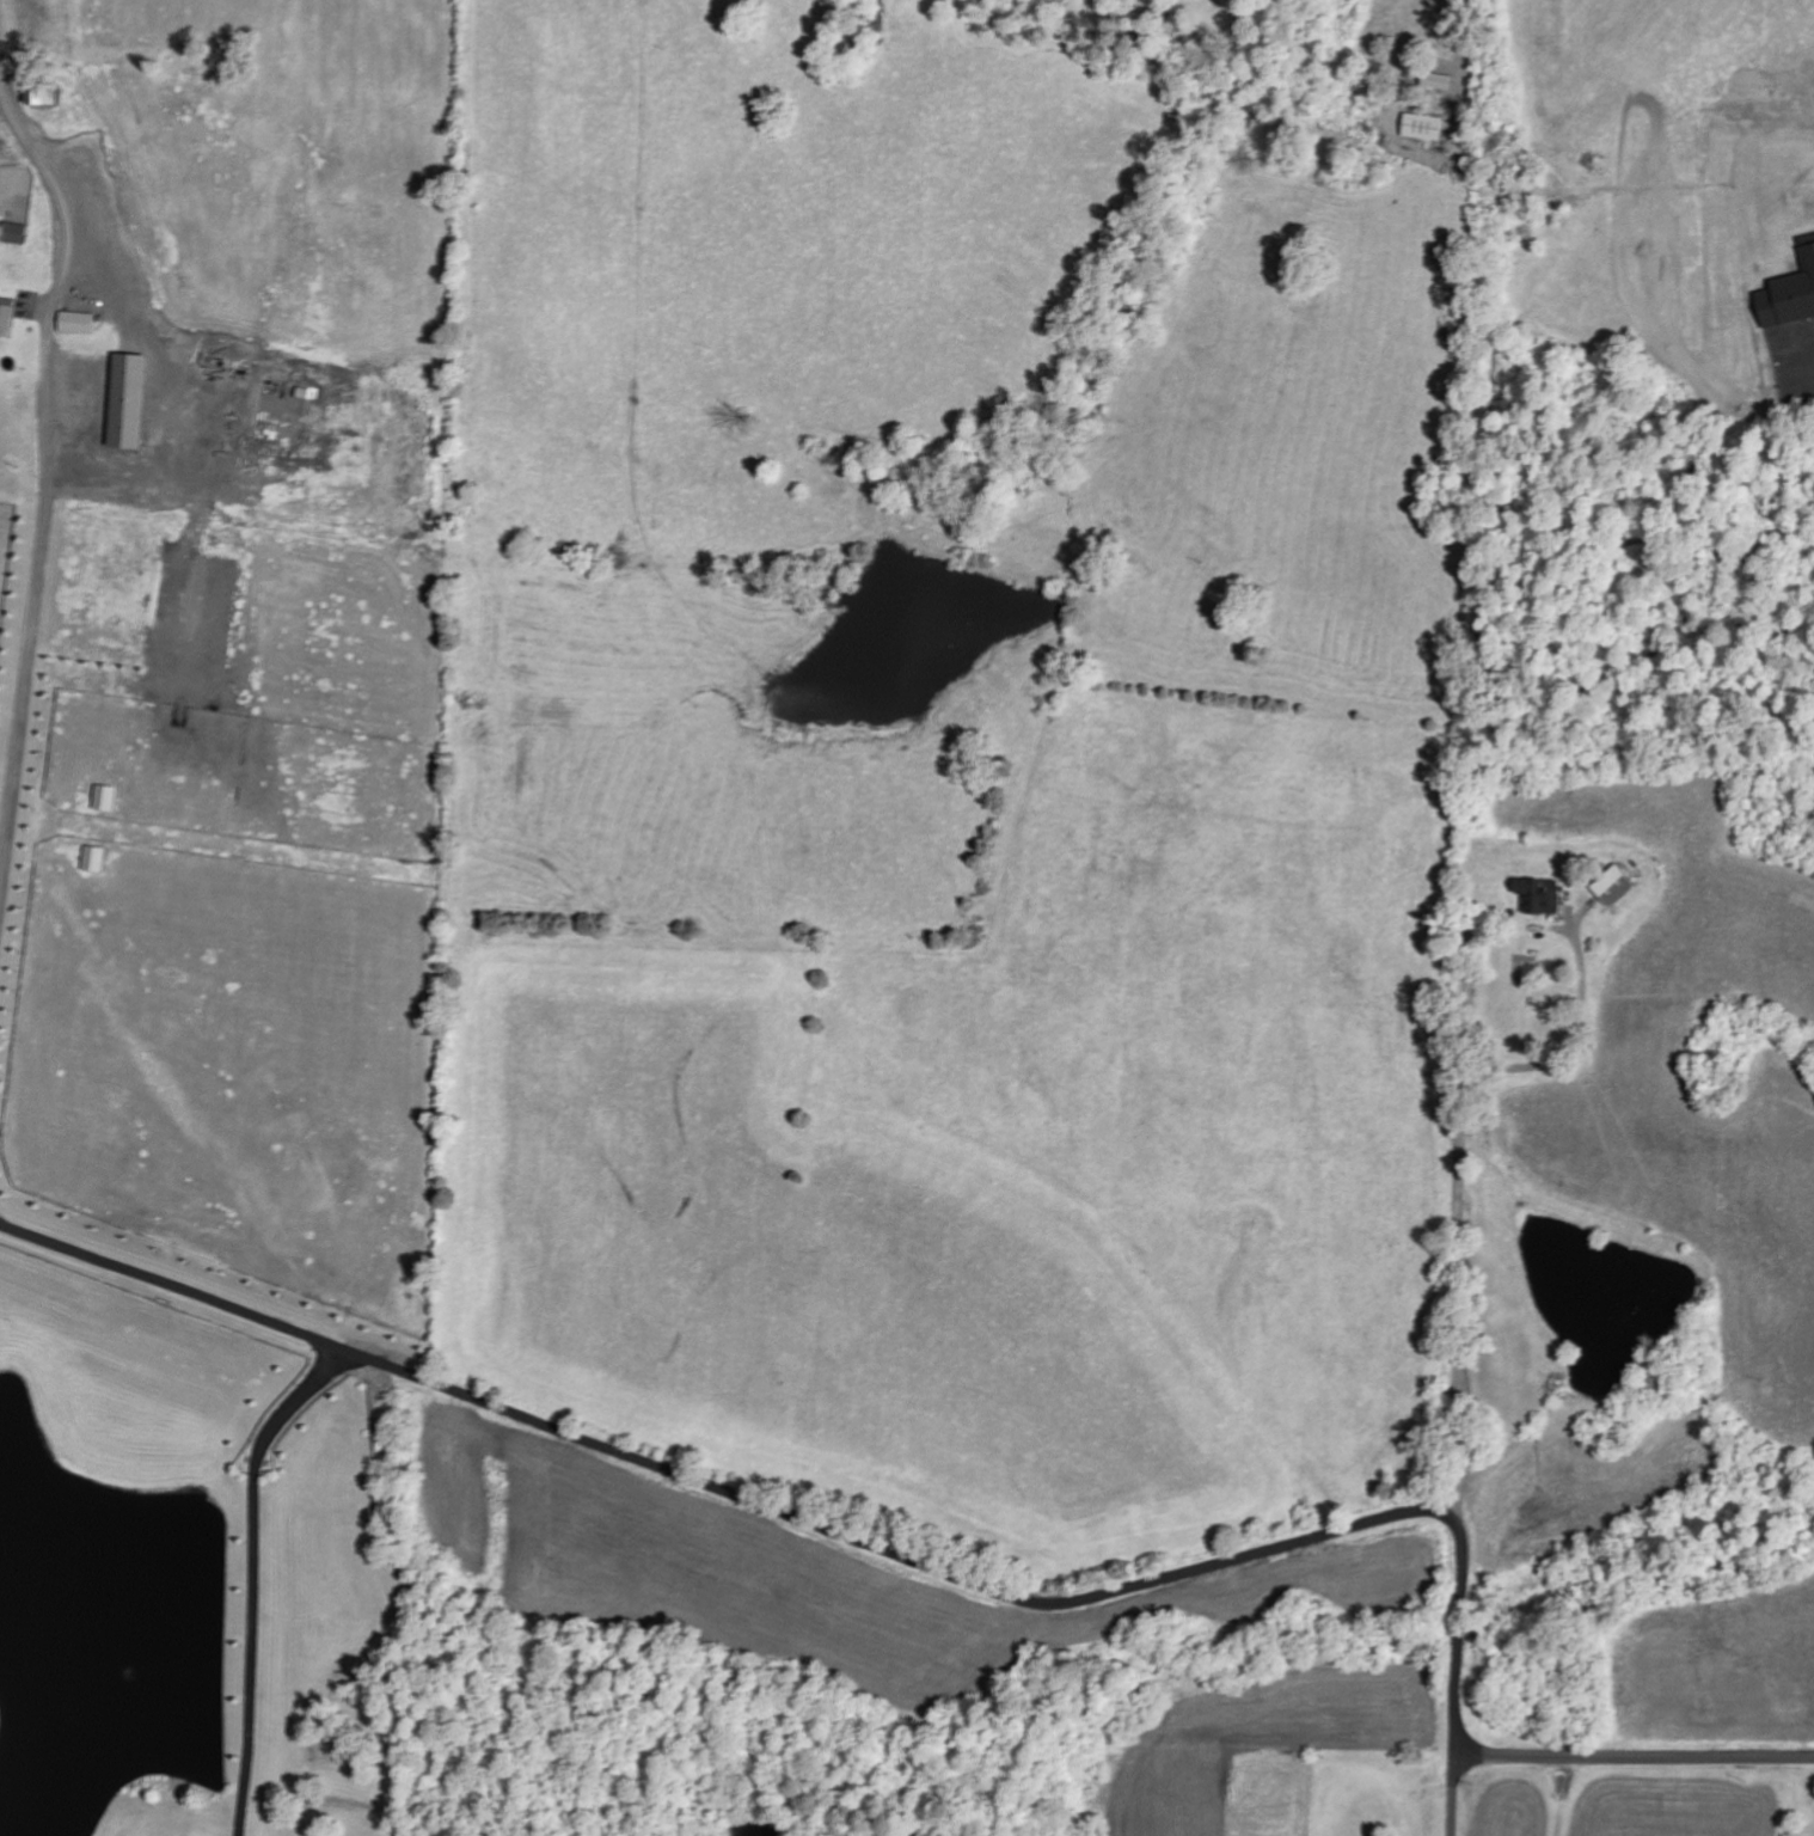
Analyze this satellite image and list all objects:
building: (1438, 82)
building: (42, 97)
road: (26, 123)
building: (1423, 129)
building: (14, 234)
building: (1790, 298)
building: (6, 322)
building: (76, 324)
building: (129, 404)
building: (104, 798)
building: (93, 859)
building: (1616, 886)
building: (1542, 896)
road: (1458, 1292)
road: (832, 1534)
road: (1635, 1755)
road: (1453, 1794)

